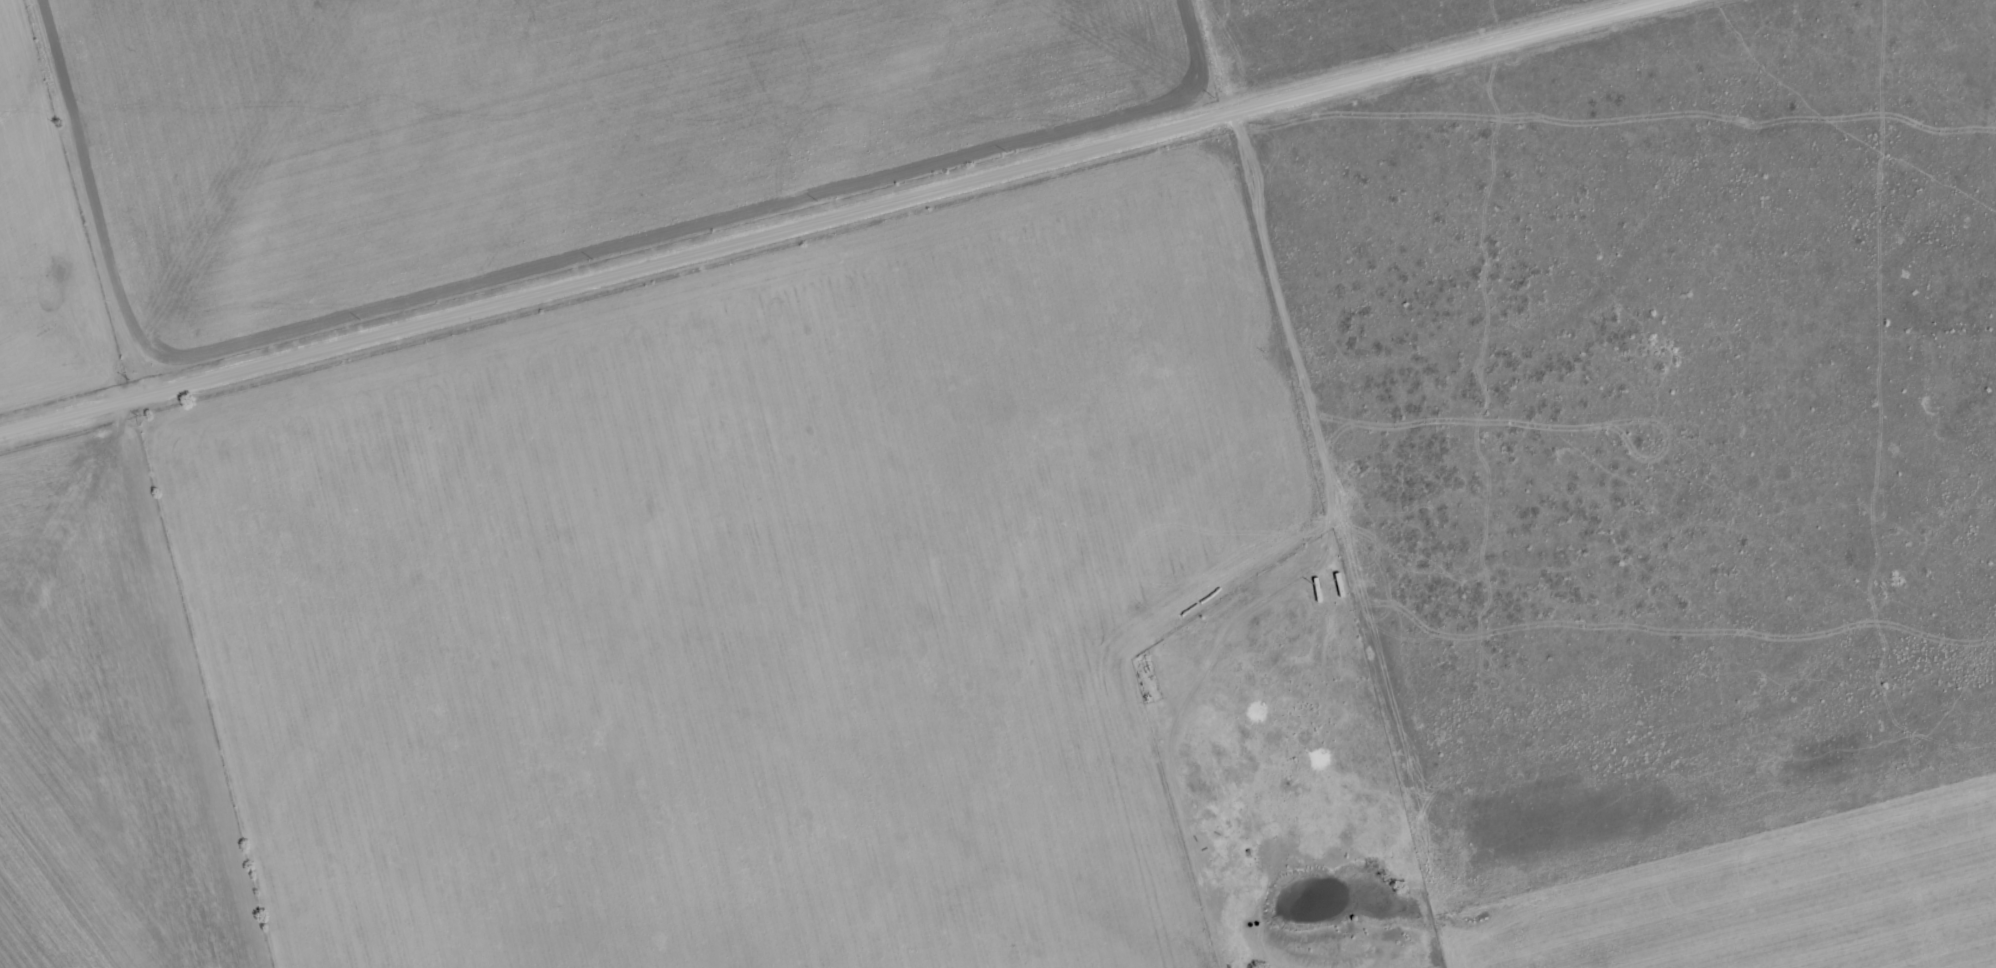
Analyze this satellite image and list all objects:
road: (787, 204)
road: (1277, 349)

